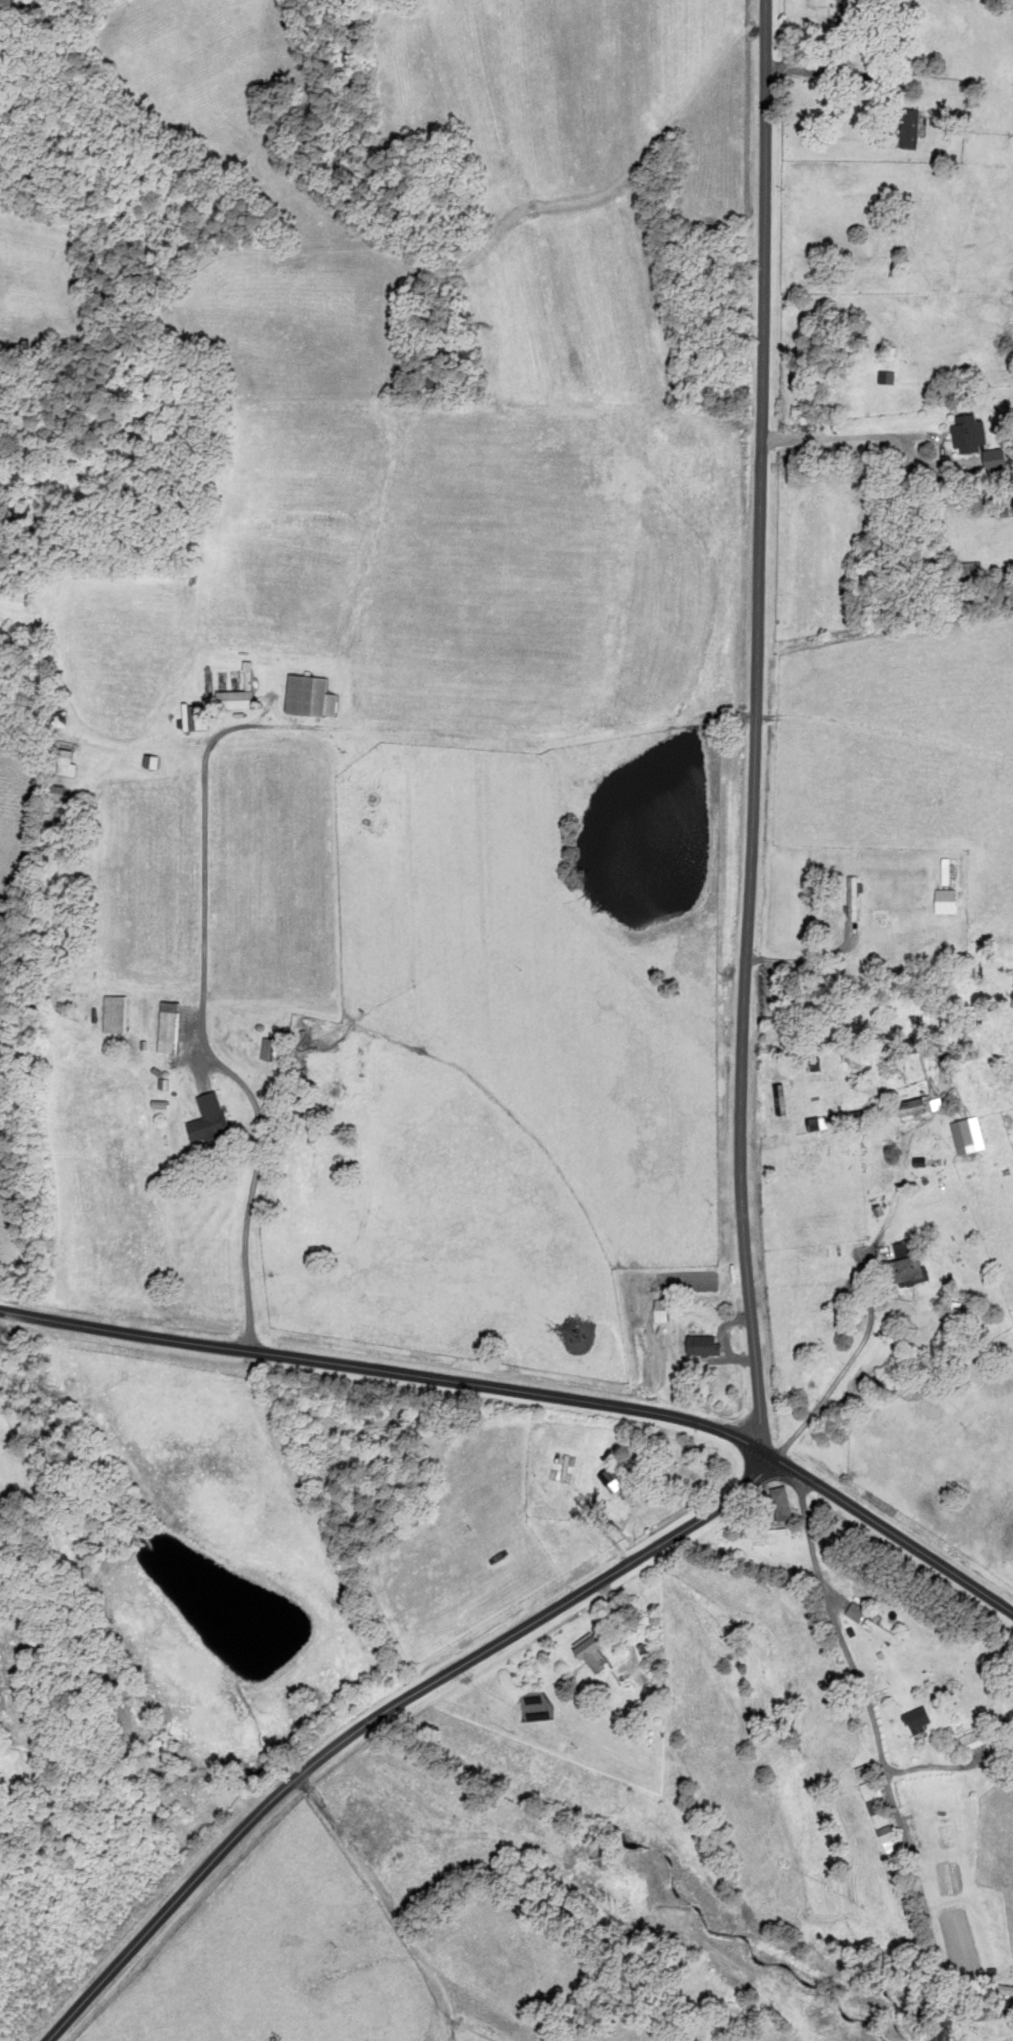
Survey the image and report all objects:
road: (822, 71)
building: (906, 129)
road: (885, 440)
building: (972, 441)
building: (968, 569)
building: (311, 696)
building: (238, 700)
building: (197, 717)
road: (756, 723)
building: (69, 762)
building: (60, 796)
building: (850, 896)
building: (876, 919)
road: (807, 956)
building: (116, 1014)
road: (203, 1016)
building: (170, 1027)
building: (276, 1050)
building: (969, 1083)
building: (907, 1107)
building: (211, 1119)
building: (809, 1124)
building: (960, 1134)
building: (907, 1270)
road: (871, 1306)
building: (657, 1311)
building: (699, 1346)
road: (531, 1391)
building: (778, 1504)
building: (880, 1633)
building: (586, 1653)
road: (382, 1712)
building: (914, 1720)
building: (969, 1740)
road: (882, 1753)
building: (866, 1781)
building: (883, 1835)
building: (944, 1837)

